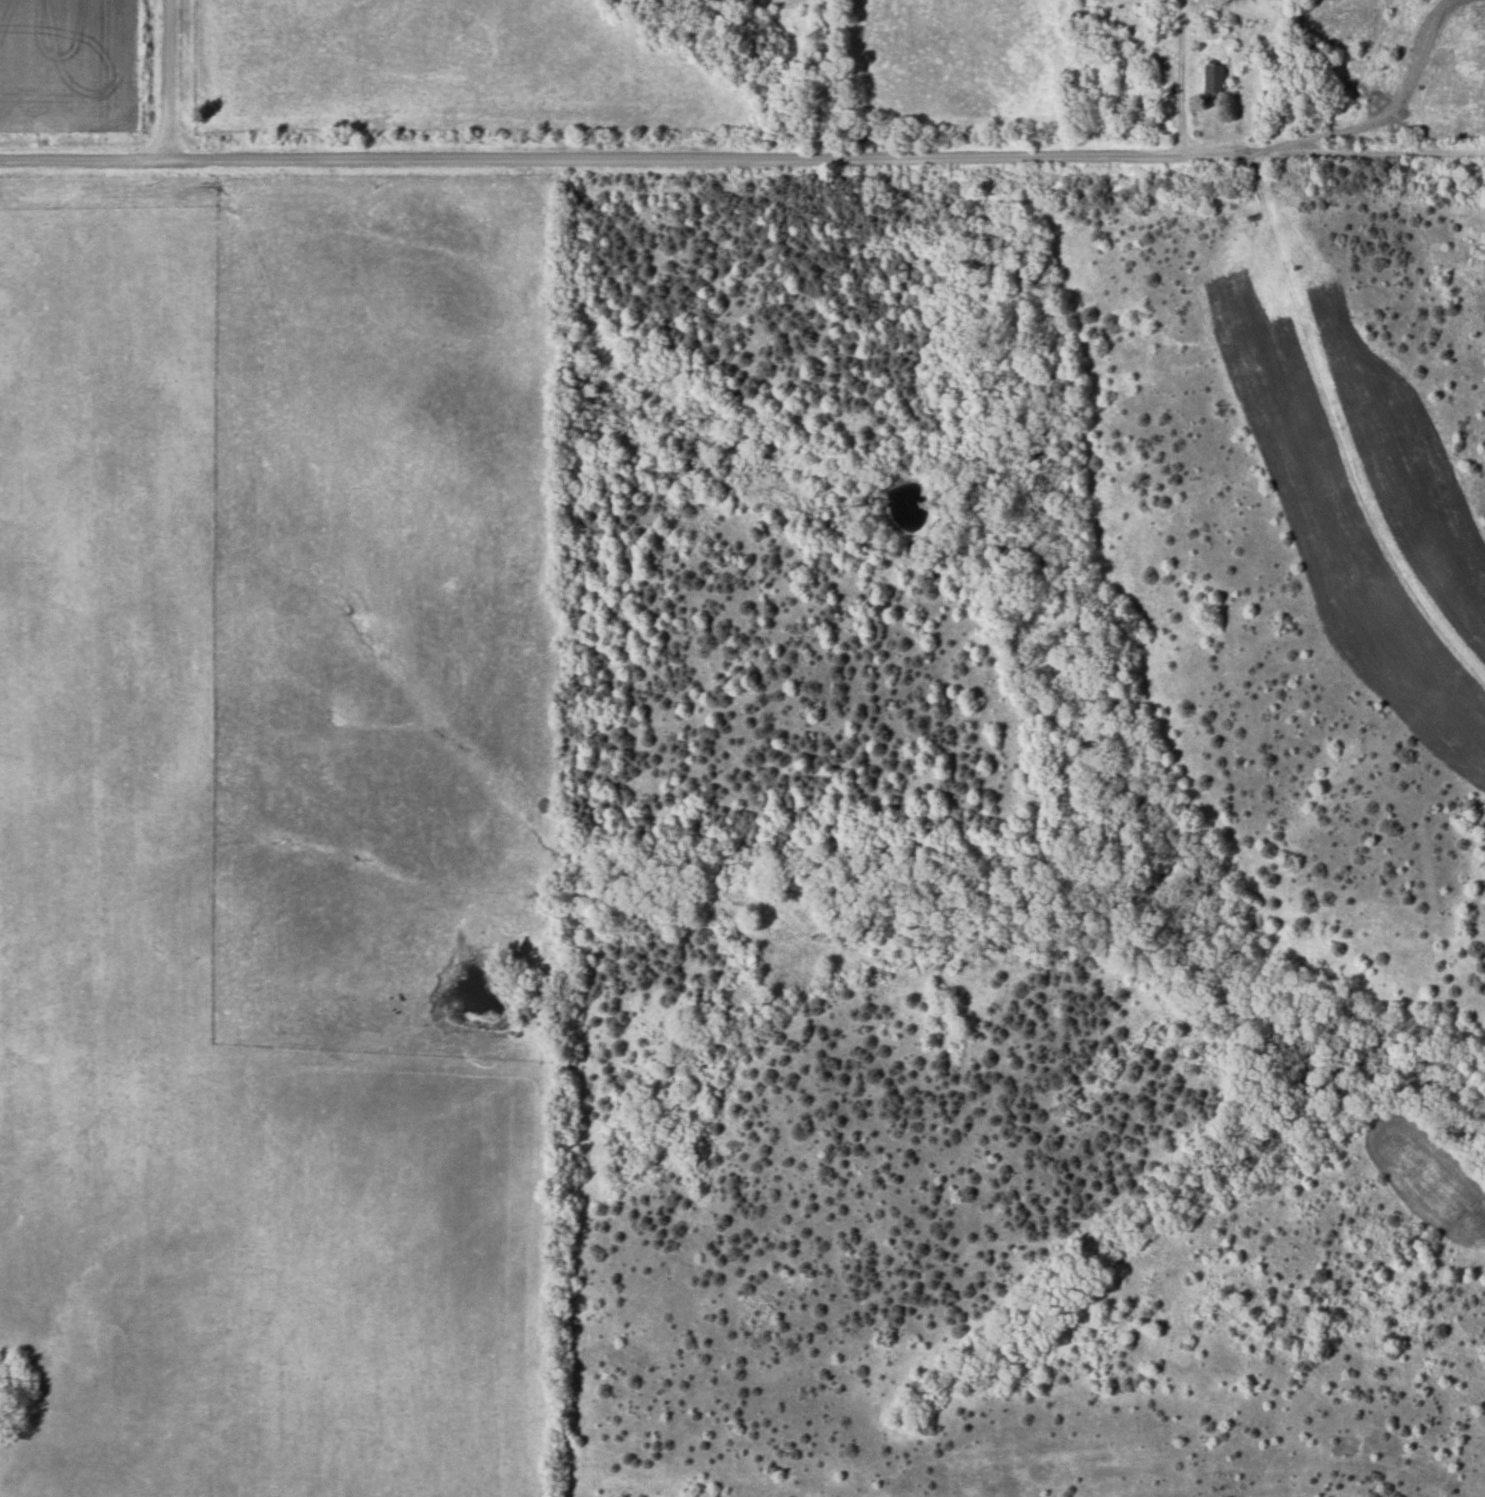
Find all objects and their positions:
building: (1211, 76)
road: (1183, 77)
road: (170, 81)
road: (821, 158)
road: (78, 162)

